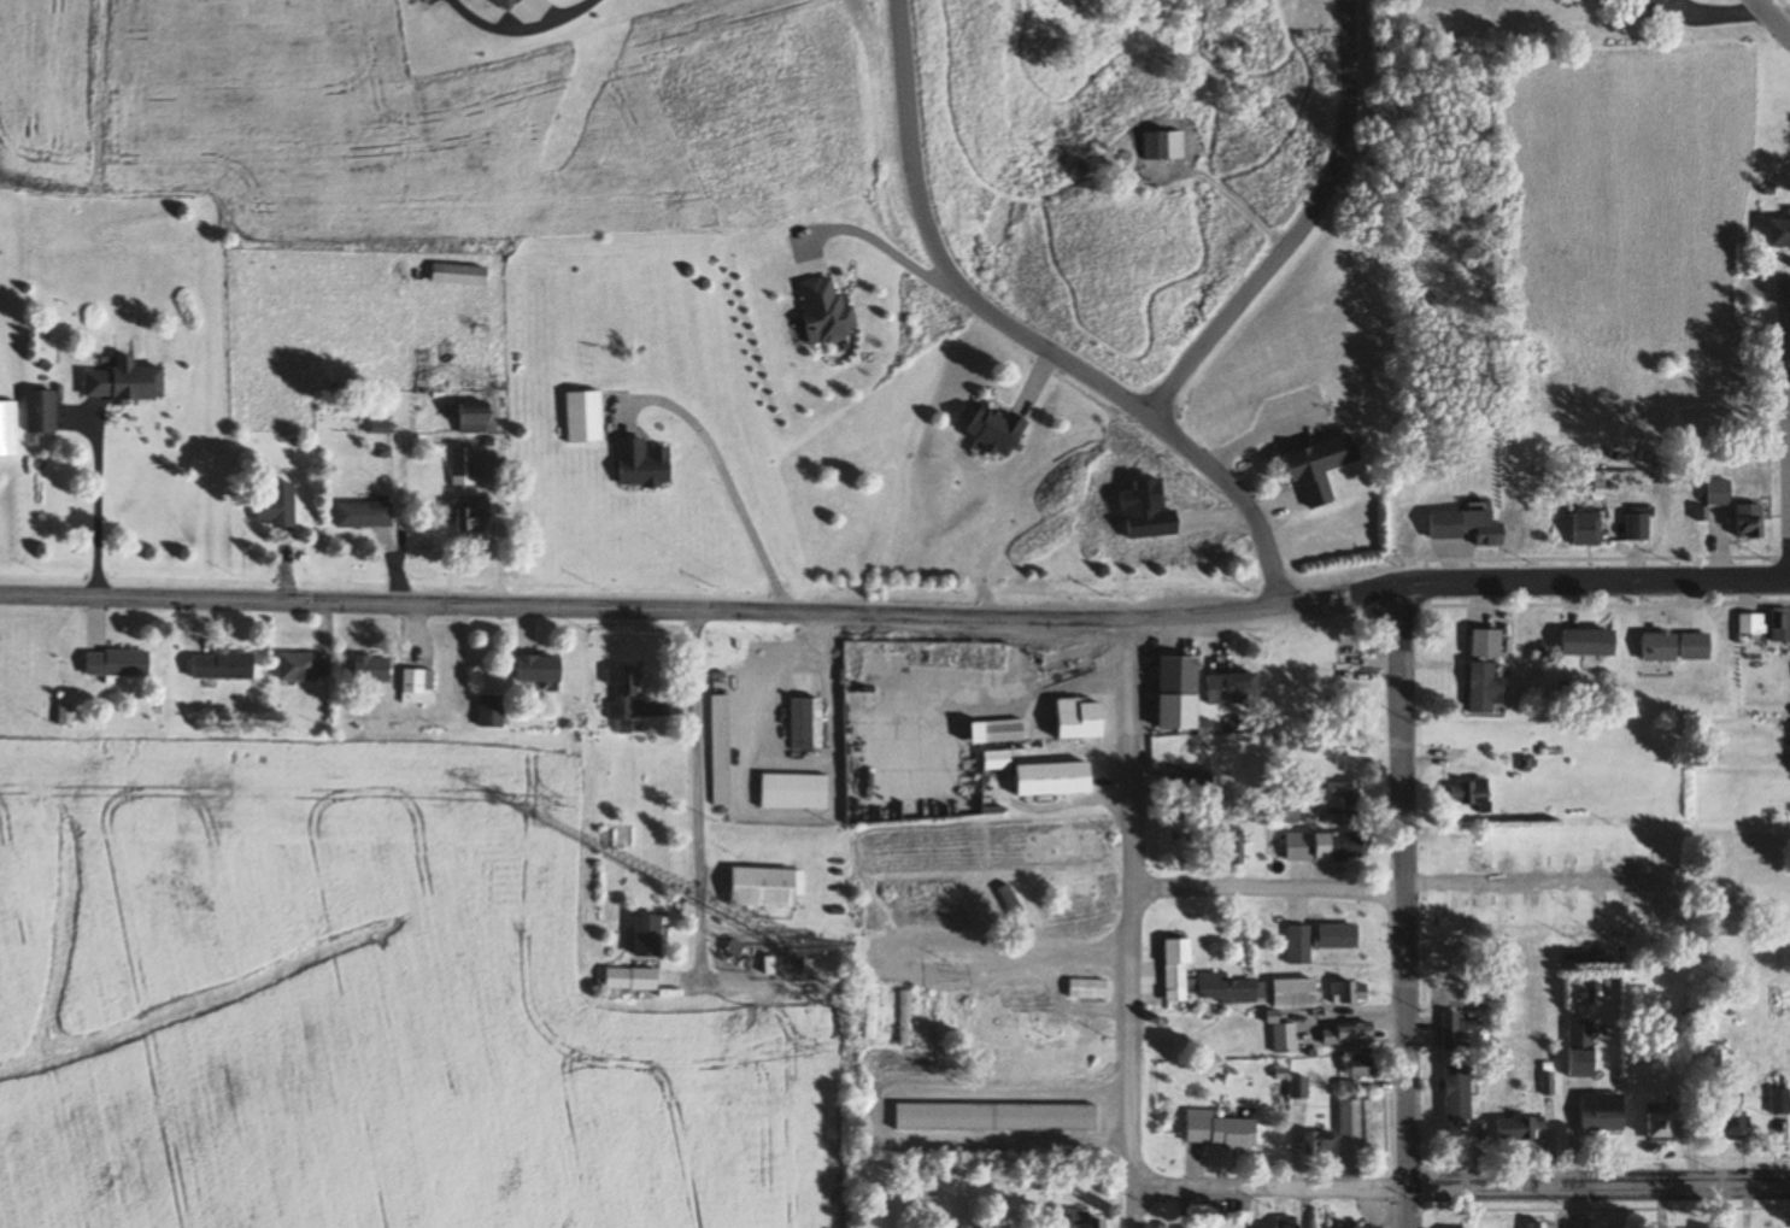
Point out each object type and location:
road: (577, 6)
road: (1773, 16)
building: (1166, 147)
road: (1296, 229)
building: (1780, 234)
building: (460, 275)
road: (1022, 337)
building: (129, 381)
building: (43, 411)
building: (476, 417)
building: (586, 417)
building: (10, 429)
building: (998, 429)
building: (1583, 458)
building: (646, 463)
building: (464, 466)
building: (1322, 466)
building: (1719, 492)
road: (94, 501)
building: (280, 506)
building: (474, 513)
building: (366, 515)
building: (1750, 521)
building: (1471, 525)
building: (1638, 527)
building: (1589, 528)
road: (896, 613)
building: (1754, 623)
building: (1782, 627)
building: (1591, 641)
building: (1489, 642)
building: (1666, 646)
building: (121, 663)
building: (225, 665)
building: (306, 666)
building: (541, 668)
building: (375, 669)
building: (1327, 674)
building: (419, 686)
building: (1234, 686)
building: (1489, 688)
building: (1181, 692)
building: (623, 694)
building: (493, 711)
building: (1084, 718)
building: (804, 723)
building: (999, 730)
building: (1056, 778)
building: (1192, 782)
building: (1345, 791)
building: (1469, 794)
road: (697, 797)
building: (1286, 810)
building: (1340, 845)
road: (1267, 880)
road: (1404, 886)
building: (765, 887)
building: (891, 901)
road: (1129, 901)
building: (990, 906)
building: (1016, 907)
building: (650, 934)
building: (1340, 935)
building: (1299, 944)
building: (1179, 969)
building: (633, 977)
building: (1088, 988)
building: (1228, 988)
building: (1351, 991)
building: (1298, 993)
building: (870, 1011)
building: (1045, 1015)
building: (906, 1017)
building: (976, 1017)
building: (931, 1020)
building: (1181, 1030)
building: (1350, 1033)
building: (1286, 1038)
building: (1457, 1040)
building: (1583, 1047)
building: (1366, 1067)
building: (1301, 1086)
building: (1460, 1092)
building: (1780, 1104)
building: (1604, 1112)
building: (998, 1116)
building: (1360, 1121)
building: (1662, 1126)
building: (1221, 1129)
building: (1518, 1130)
building: (1320, 1142)
road: (1463, 1187)
road: (1137, 1206)
road: (1407, 1208)
building: (1091, 1221)
building: (1286, 1222)
building: (1258, 1226)
building: (1366, 1227)
building: (1562, 1227)

